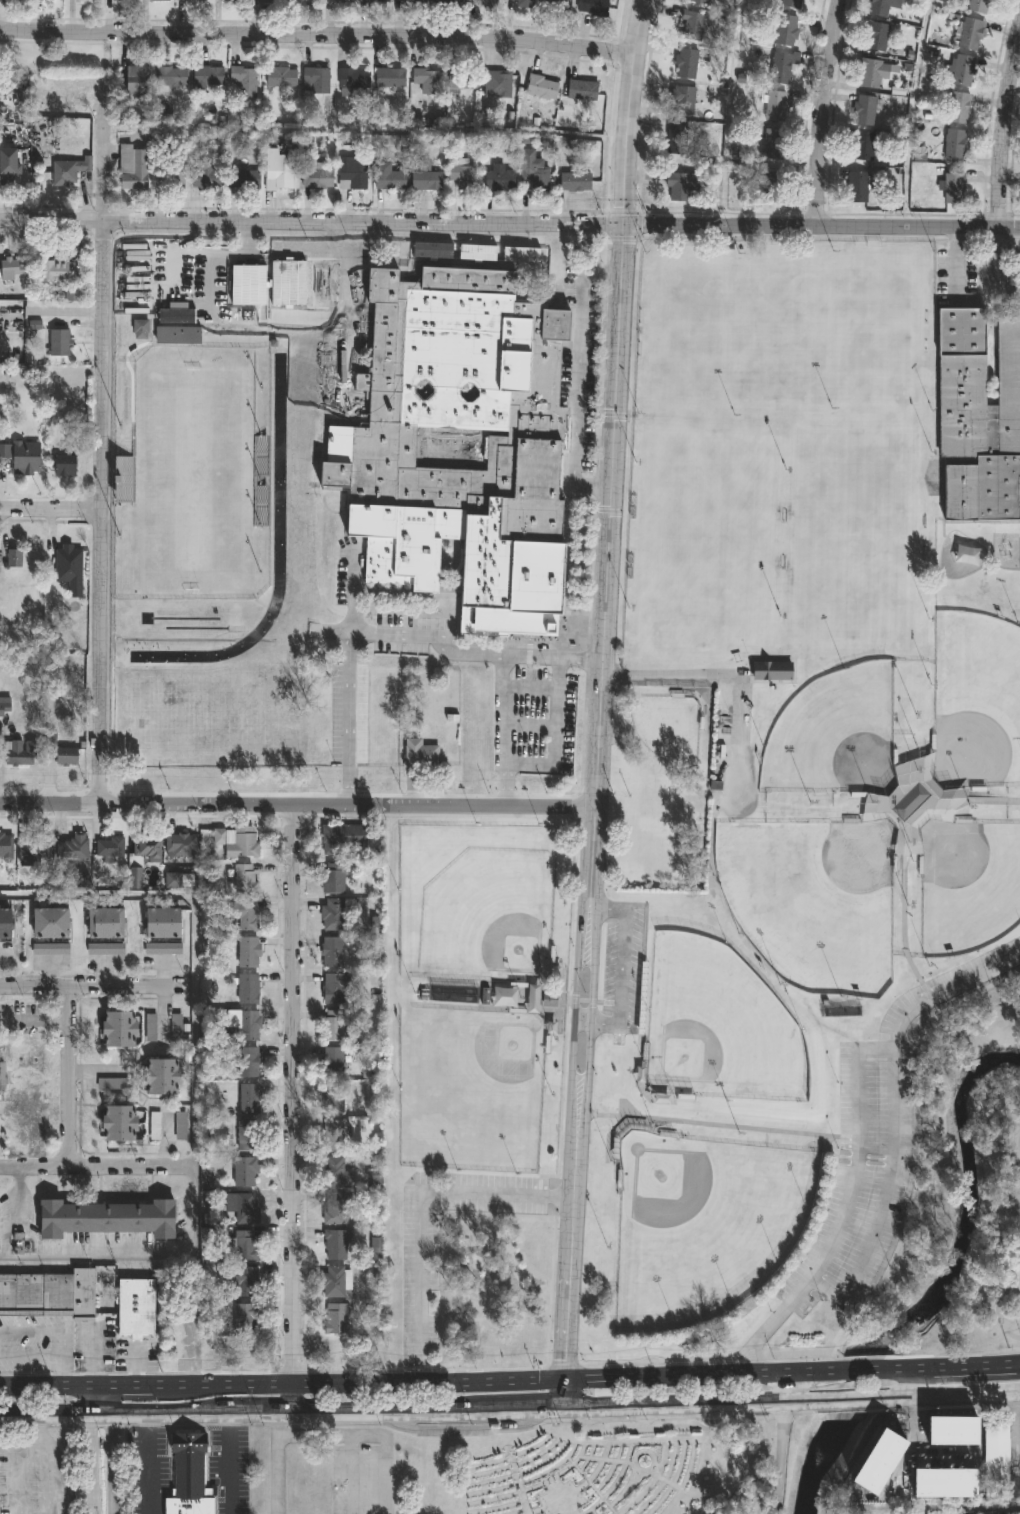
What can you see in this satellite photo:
building: (12, 0)
building: (125, 0)
building: (158, 0)
building: (192, 0)
building: (263, 1)
building: (306, 1)
building: (341, 1)
building: (373, 1)
building: (409, 1)
building: (700, 1)
building: (445, 2)
building: (488, 2)
building: (792, 3)
building: (525, 4)
building: (557, 5)
building: (978, 6)
building: (592, 7)
building: (882, 7)
building: (692, 26)
building: (971, 34)
road: (315, 35)
building: (876, 36)
road: (101, 60)
building: (686, 64)
building: (780, 67)
building: (963, 70)
building: (872, 72)
building: (208, 76)
building: (172, 77)
building: (281, 78)
building: (354, 78)
building: (390, 78)
building: (317, 79)
building: (426, 80)
building: (463, 80)
building: (138, 81)
building: (246, 81)
building: (497, 84)
building: (541, 88)
building: (581, 90)
building: (67, 97)
building: (683, 100)
building: (775, 105)
building: (959, 108)
building: (865, 110)
road: (729, 112)
road: (820, 112)
road: (909, 113)
road: (1001, 120)
road: (362, 131)
building: (679, 138)
building: (773, 143)
building: (955, 144)
building: (864, 146)
building: (8, 167)
building: (133, 168)
building: (68, 170)
building: (277, 171)
building: (352, 173)
building: (170, 176)
building: (460, 176)
building: (317, 177)
building: (389, 177)
building: (207, 178)
building: (536, 178)
building: (244, 180)
building: (426, 181)
building: (499, 181)
building: (575, 181)
building: (773, 186)
building: (857, 186)
building: (678, 187)
building: (955, 189)
road: (510, 223)
traffic signals: (624, 227)
road: (172, 259)
road: (247, 259)
road: (956, 265)
road: (995, 266)
building: (12, 269)
building: (57, 271)
parking lot: (958, 272)
park: (175, 273)
road: (210, 288)
parking lot: (232, 288)
road: (247, 288)
road: (228, 318)
road: (345, 319)
building: (141, 331)
parking lot: (345, 333)
building: (177, 336)
building: (59, 344)
parking lot: (578, 378)
road: (576, 379)
building: (978, 418)
road: (98, 445)
building: (461, 449)
park: (777, 450)
road: (611, 453)
building: (65, 467)
park: (191, 474)
building: (124, 481)
road: (49, 507)
building: (13, 560)
building: (68, 569)
road: (331, 632)
road: (436, 642)
parking lot: (514, 659)
building: (773, 670)
road: (348, 675)
road: (732, 677)
road: (499, 686)
road: (528, 688)
park: (976, 701)
building: (4, 708)
road: (526, 727)
road: (553, 734)
park: (835, 734)
building: (20, 755)
building: (421, 756)
building: (66, 757)
road: (995, 803)
road: (295, 808)
road: (956, 823)
park: (804, 833)
building: (237, 842)
building: (341, 842)
building: (181, 846)
building: (6, 847)
building: (34, 847)
building: (109, 848)
building: (144, 849)
building: (72, 852)
building: (333, 879)
building: (245, 881)
park: (968, 883)
park: (813, 900)
building: (244, 915)
building: (333, 916)
park: (489, 917)
building: (106, 924)
building: (6, 925)
building: (51, 925)
building: (163, 925)
road: (904, 929)
building: (162, 949)
building: (50, 950)
building: (105, 950)
building: (247, 954)
building: (331, 954)
parking lot: (622, 968)
road: (620, 971)
road: (89, 987)
building: (248, 990)
building: (336, 990)
road: (943, 990)
building: (505, 997)
road: (162, 1011)
road: (33, 1021)
road: (572, 1024)
road: (588, 1024)
park: (717, 1025)
building: (243, 1027)
building: (150, 1029)
building: (176, 1029)
building: (337, 1029)
building: (119, 1031)
building: (248, 1063)
building: (332, 1063)
road: (96, 1072)
road: (65, 1077)
building: (163, 1078)
park: (475, 1078)
building: (2, 1079)
park: (468, 1082)
building: (249, 1100)
building: (332, 1100)
building: (683, 1100)
building: (662, 1101)
road: (288, 1109)
building: (120, 1125)
building: (154, 1127)
building: (179, 1127)
road: (709, 1128)
building: (247, 1136)
building: (332, 1137)
parking lot: (877, 1147)
road: (94, 1167)
road: (854, 1169)
building: (245, 1172)
building: (336, 1174)
road: (911, 1194)
road: (18, 1196)
road: (887, 1203)
building: (242, 1207)
building: (335, 1208)
road: (418, 1214)
building: (107, 1219)
park: (702, 1222)
building: (245, 1245)
building: (335, 1245)
road: (139, 1255)
road: (567, 1259)
building: (333, 1281)
building: (241, 1282)
parking lot: (421, 1288)
building: (49, 1294)
road: (1003, 1299)
building: (131, 1309)
building: (244, 1318)
building: (335, 1319)
road: (772, 1323)
road: (57, 1332)
road: (1007, 1334)
road: (753, 1343)
building: (245, 1355)
road: (922, 1357)
road: (31, 1358)
road: (95, 1358)
road: (990, 1363)
road: (654, 1365)
road: (564, 1367)
road: (843, 1369)
road: (643, 1375)
traffic signals: (561, 1378)
road: (424, 1379)
road: (961, 1380)
road: (144, 1385)
road: (561, 1392)
road: (582, 1394)
road: (991, 1394)
road: (549, 1395)
road: (872, 1398)
road: (672, 1405)
traffic signals: (561, 1406)
road: (425, 1408)
road: (144, 1413)
road: (463, 1420)
road: (36, 1427)
road: (100, 1428)
road: (39, 1430)
road: (1017, 1431)
road: (454, 1432)
road: (331, 1435)
road: (780, 1442)
building: (942, 1445)
road: (421, 1447)
road: (90, 1449)
road: (111, 1449)
building: (878, 1451)
building: (994, 1460)
road: (147, 1463)
road: (230, 1463)
road: (276, 1463)
park: (631, 1465)
road: (758, 1465)
parking lot: (43, 1470)
road: (16, 1472)
road: (350, 1474)
road: (54, 1475)
parking lot: (355, 1475)
building: (188, 1476)
road: (386, 1476)
building: (921, 1487)
building: (433, 1502)

